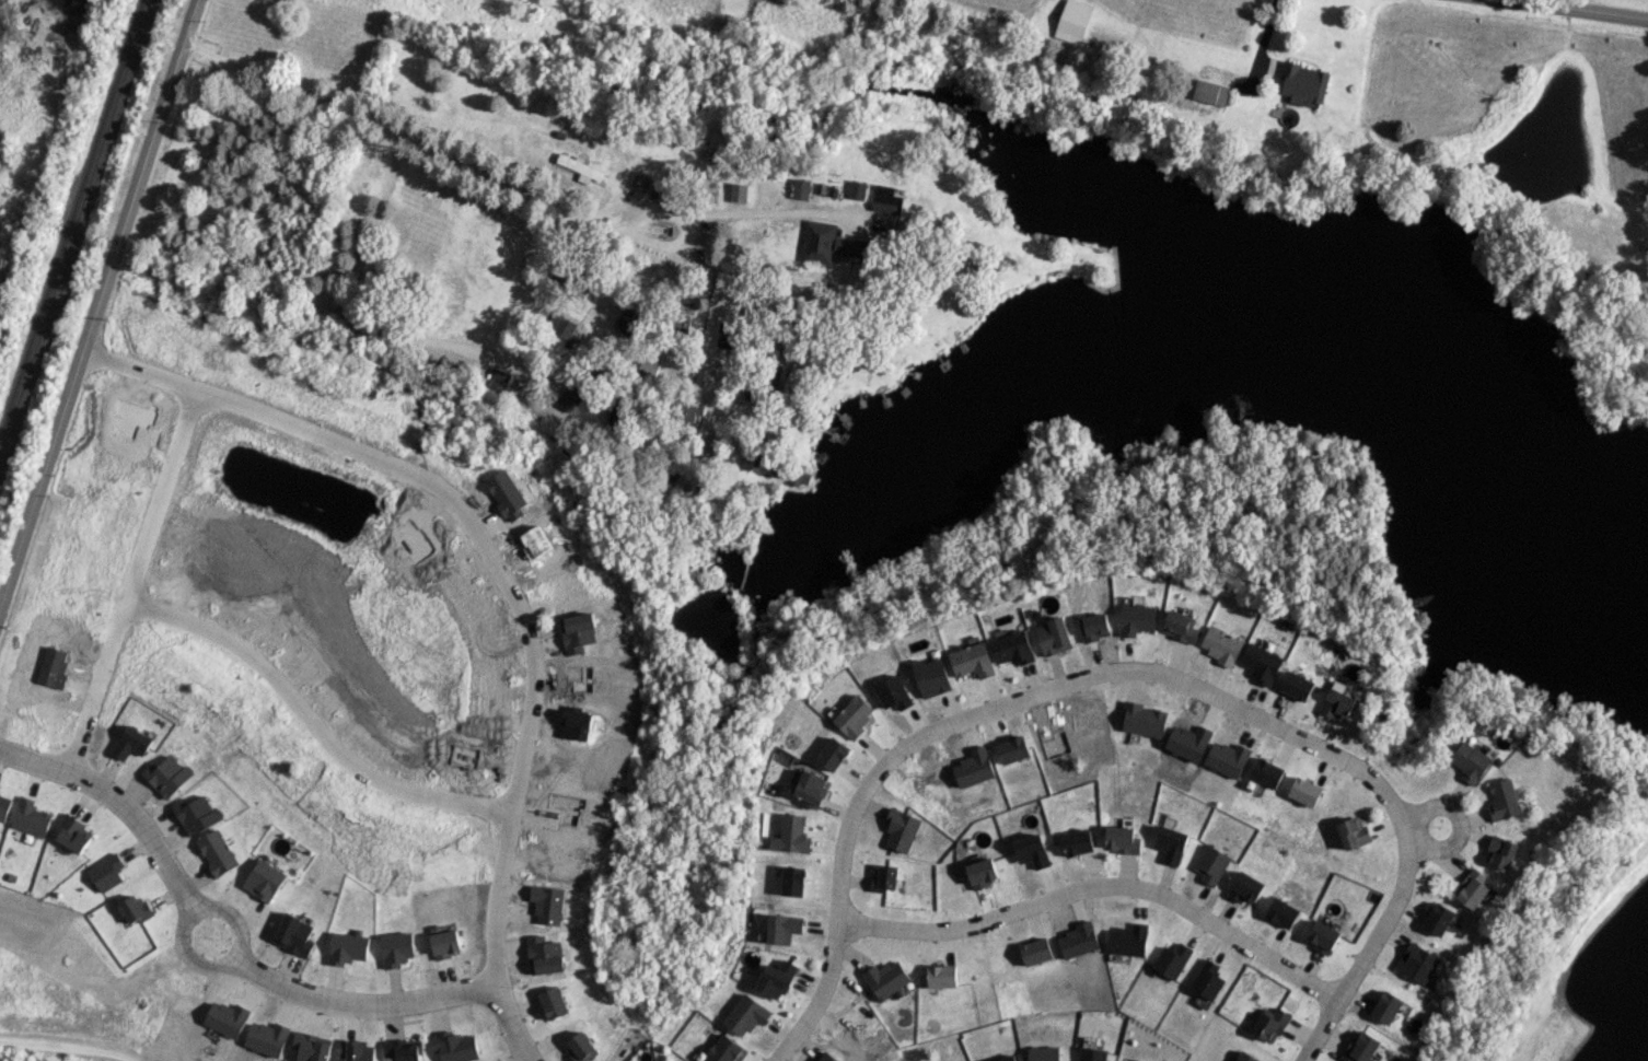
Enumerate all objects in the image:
road: (1574, 11)
building: (1073, 21)
road: (189, 22)
road: (1262, 43)
building: (1303, 83)
building: (1211, 92)
building: (581, 168)
road: (506, 178)
building: (640, 180)
building: (801, 188)
building: (858, 189)
building: (738, 191)
building: (889, 198)
railway: (73, 224)
building: (828, 243)
road: (359, 303)
building: (629, 318)
road: (91, 323)
building: (565, 327)
building: (723, 333)
building: (499, 380)
building: (522, 388)
building: (692, 409)
building: (752, 459)
road: (495, 544)
road: (139, 578)
building: (1136, 619)
building: (1180, 626)
building: (1053, 636)
building: (1221, 645)
building: (1012, 648)
building: (972, 660)
building: (1262, 663)
building: (1297, 685)
road: (1005, 704)
road: (316, 711)
building: (855, 715)
building: (1145, 720)
building: (135, 742)
building: (834, 753)
building: (1471, 761)
building: (1266, 772)
building: (812, 788)
building: (1304, 791)
building: (1502, 800)
road: (124, 801)
building: (4, 807)
building: (32, 817)
road: (1458, 823)
building: (902, 829)
building: (1354, 831)
building: (77, 832)
building: (792, 835)
building: (1122, 839)
building: (1078, 841)
building: (1171, 843)
building: (219, 852)
building: (1500, 852)
building: (108, 872)
building: (982, 872)
building: (885, 878)
building: (266, 879)
building: (793, 881)
road: (1098, 883)
building: (1245, 887)
building: (1473, 889)
building: (137, 908)
building: (1438, 918)
building: (443, 928)
building: (297, 934)
building: (1322, 936)
building: (446, 943)
building: (349, 947)
building: (398, 947)
building: (1036, 951)
road: (1365, 954)
road: (232, 957)
building: (1172, 959)
building: (1416, 963)
building: (942, 976)
building: (777, 978)
building: (886, 978)
building: (1207, 979)
road: (397, 1002)
building: (554, 1002)
building: (1386, 1006)
building: (746, 1014)
building: (1270, 1024)
building: (455, 1046)
road: (69, 1047)
building: (581, 1047)
building: (1361, 1047)
building: (404, 1049)
building: (1091, 1053)
building: (1245, 1057)
building: (1005, 1058)

